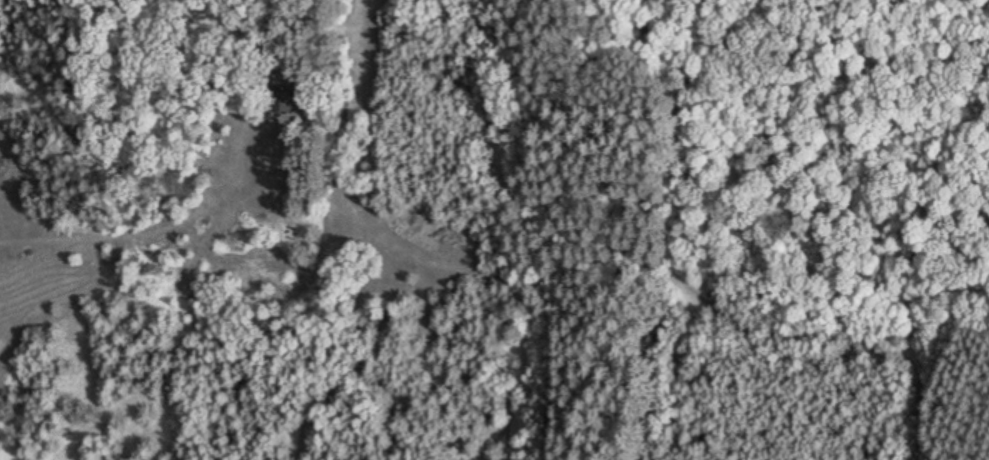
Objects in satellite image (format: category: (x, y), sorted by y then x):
building: (281, 100)

